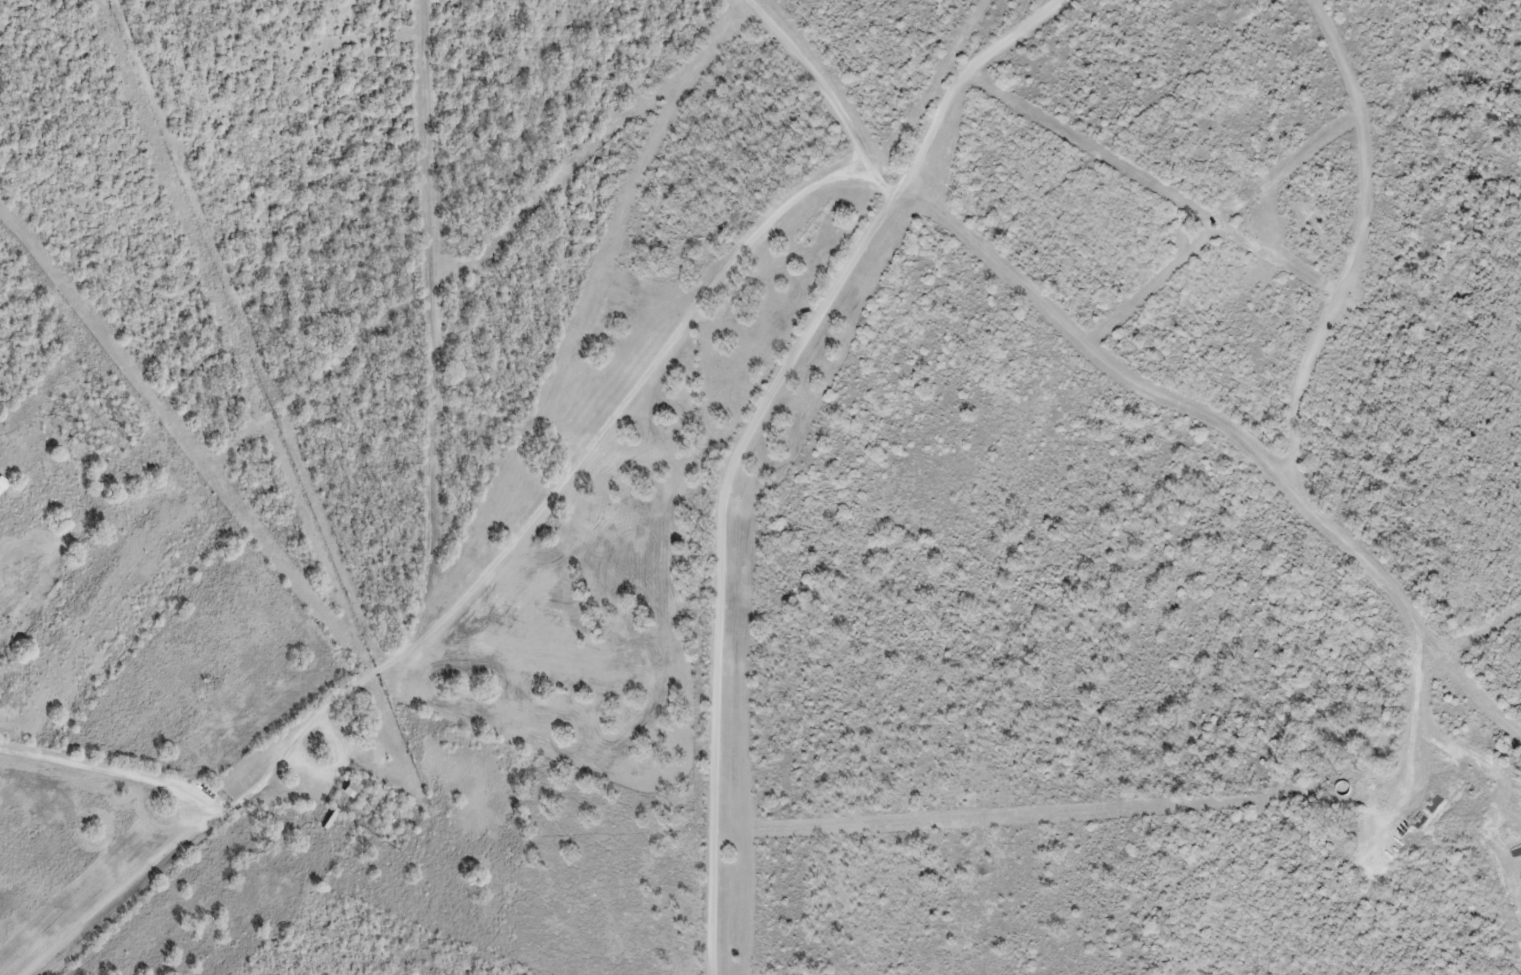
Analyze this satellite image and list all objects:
road: (744, 436)
road: (589, 445)
building: (352, 788)
building: (331, 817)

